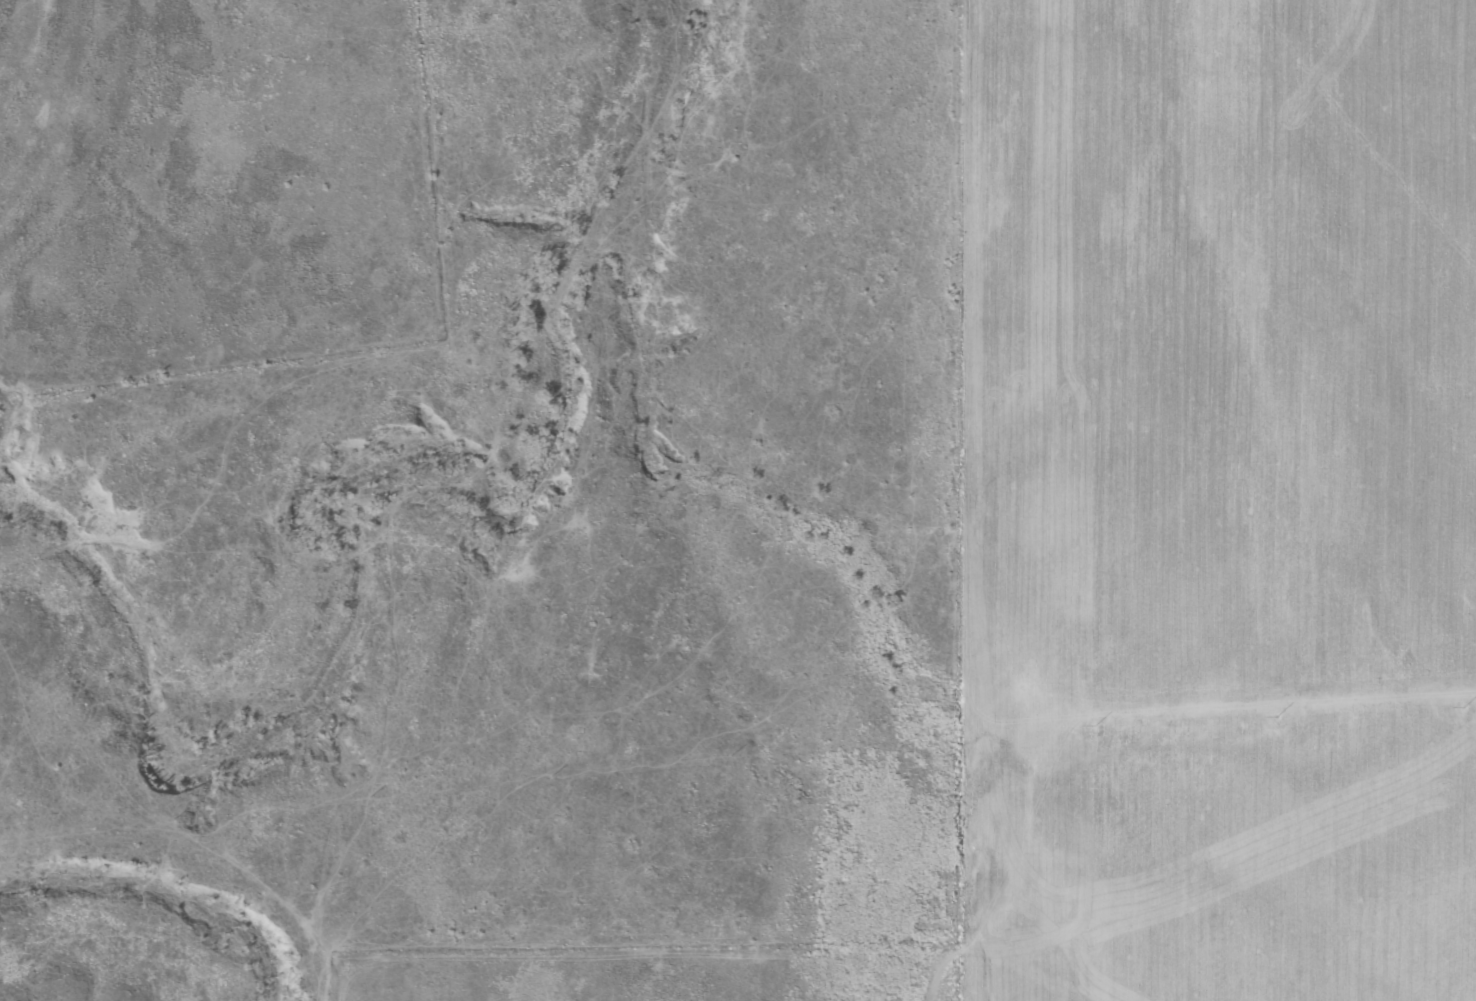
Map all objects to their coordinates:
road: (972, 500)
road: (1241, 871)

